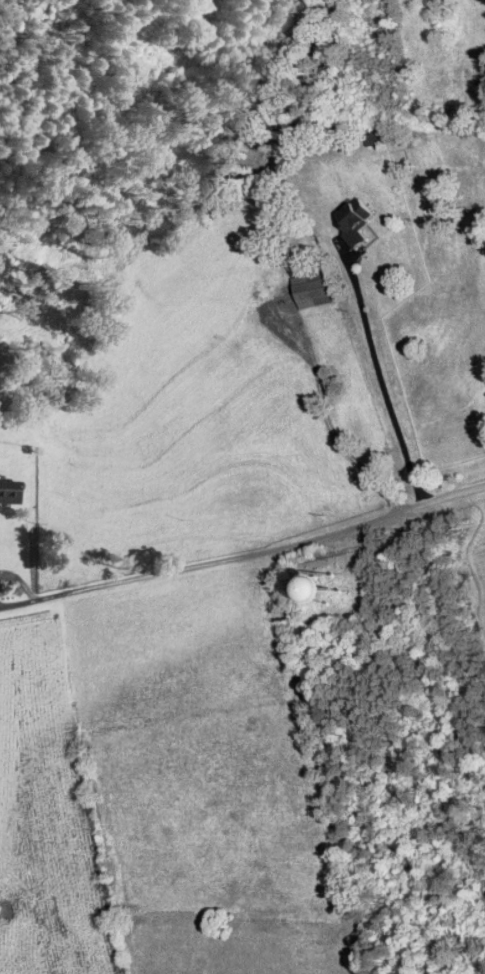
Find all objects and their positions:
building: (193, 12)
building: (357, 222)
building: (322, 289)
road: (376, 378)
road: (328, 421)
building: (10, 493)
road: (273, 550)
building: (343, 592)
road: (28, 600)
road: (318, 759)

